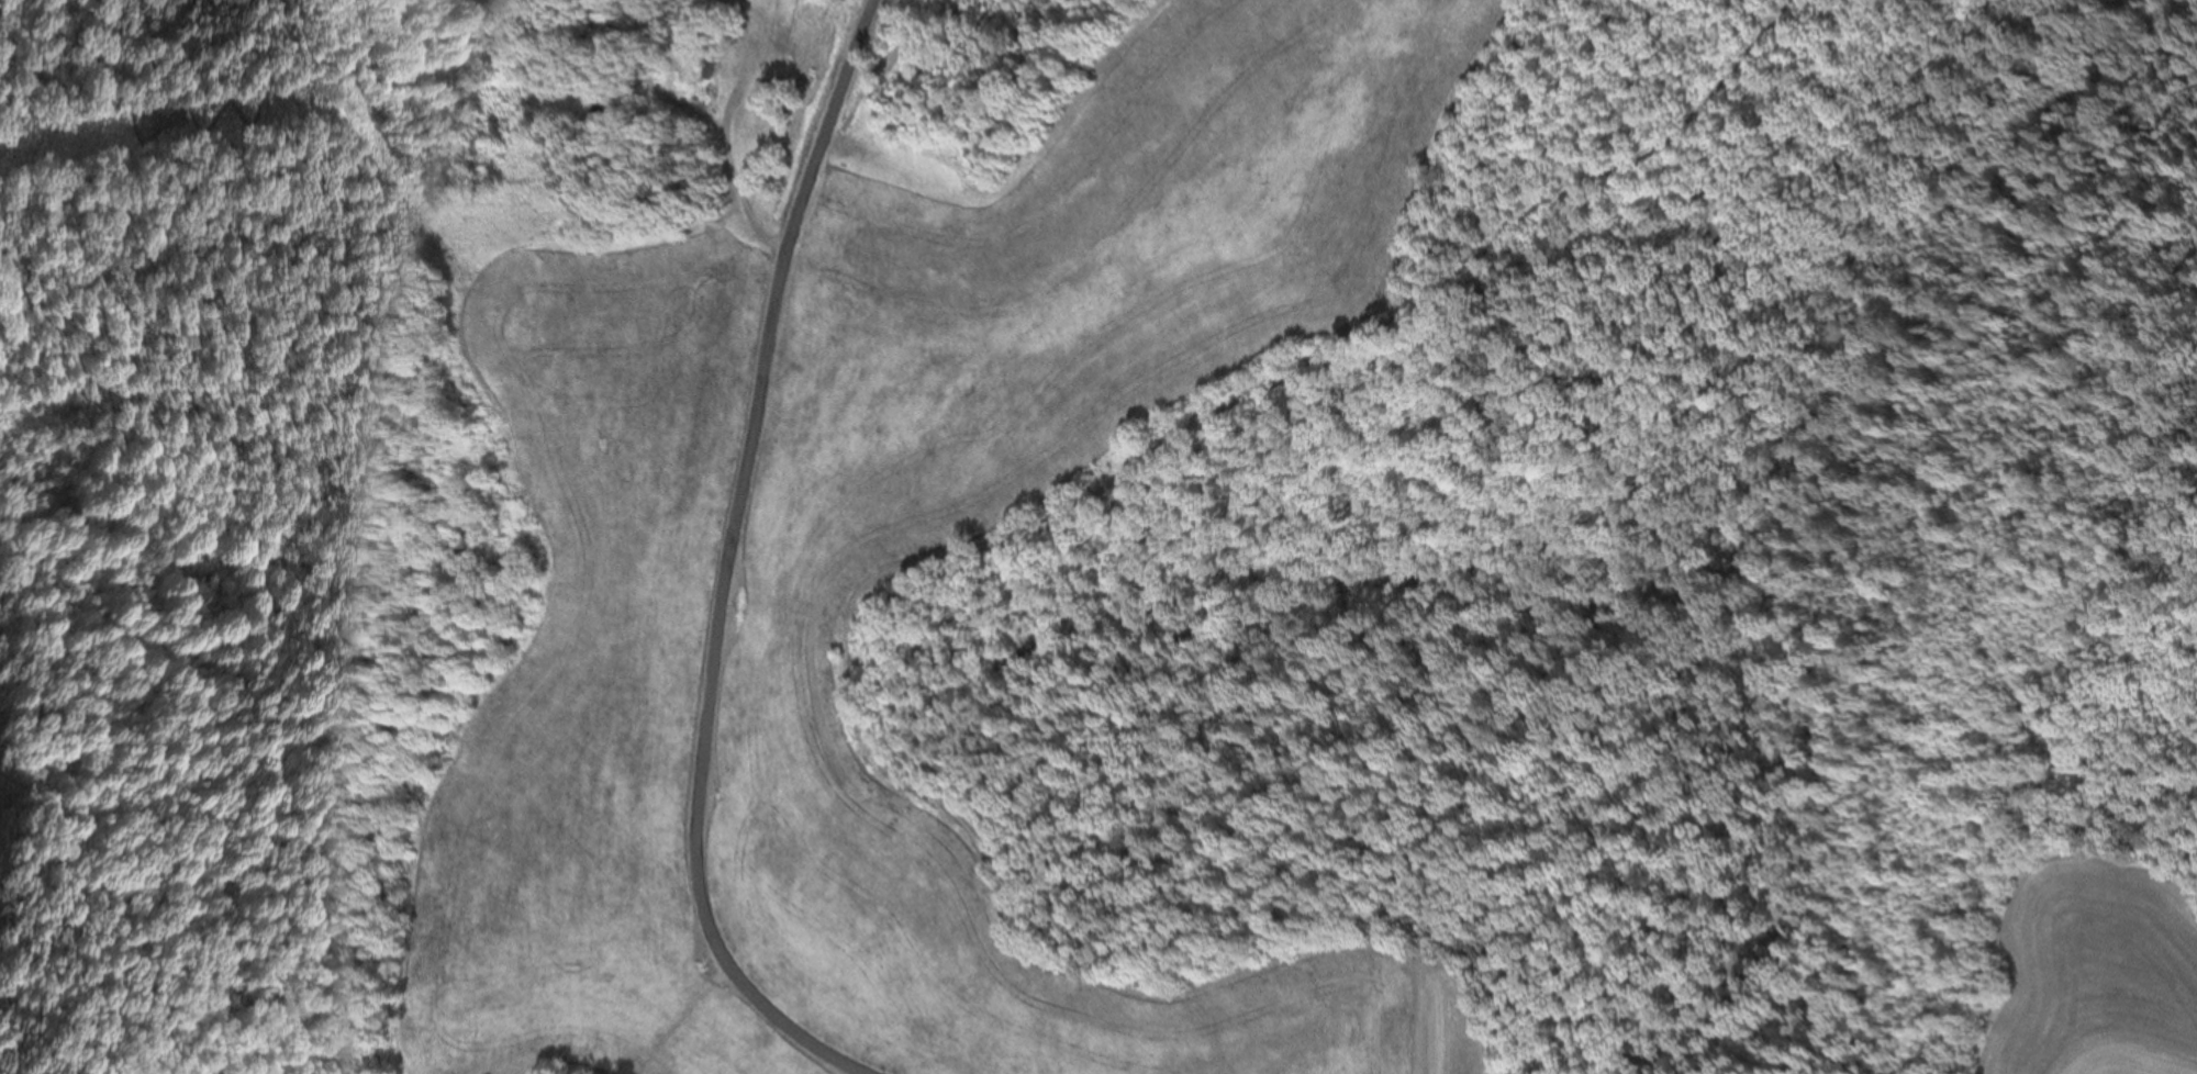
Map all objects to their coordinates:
road: (724, 564)

